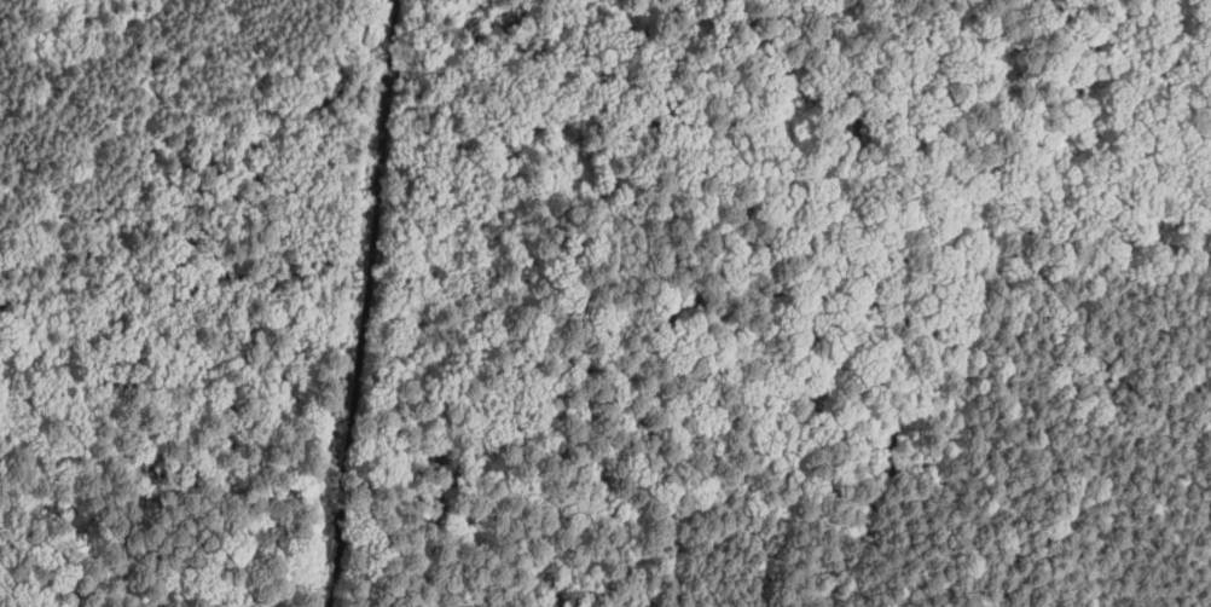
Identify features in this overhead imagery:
road: (184, 37)
road: (463, 50)
road: (1088, 118)
road: (1083, 137)
road: (166, 138)
road: (162, 289)
road: (967, 301)
road: (364, 302)
road: (651, 343)
road: (1160, 365)
road: (541, 458)
road: (848, 476)
road: (366, 551)
road: (231, 557)
road: (234, 560)

